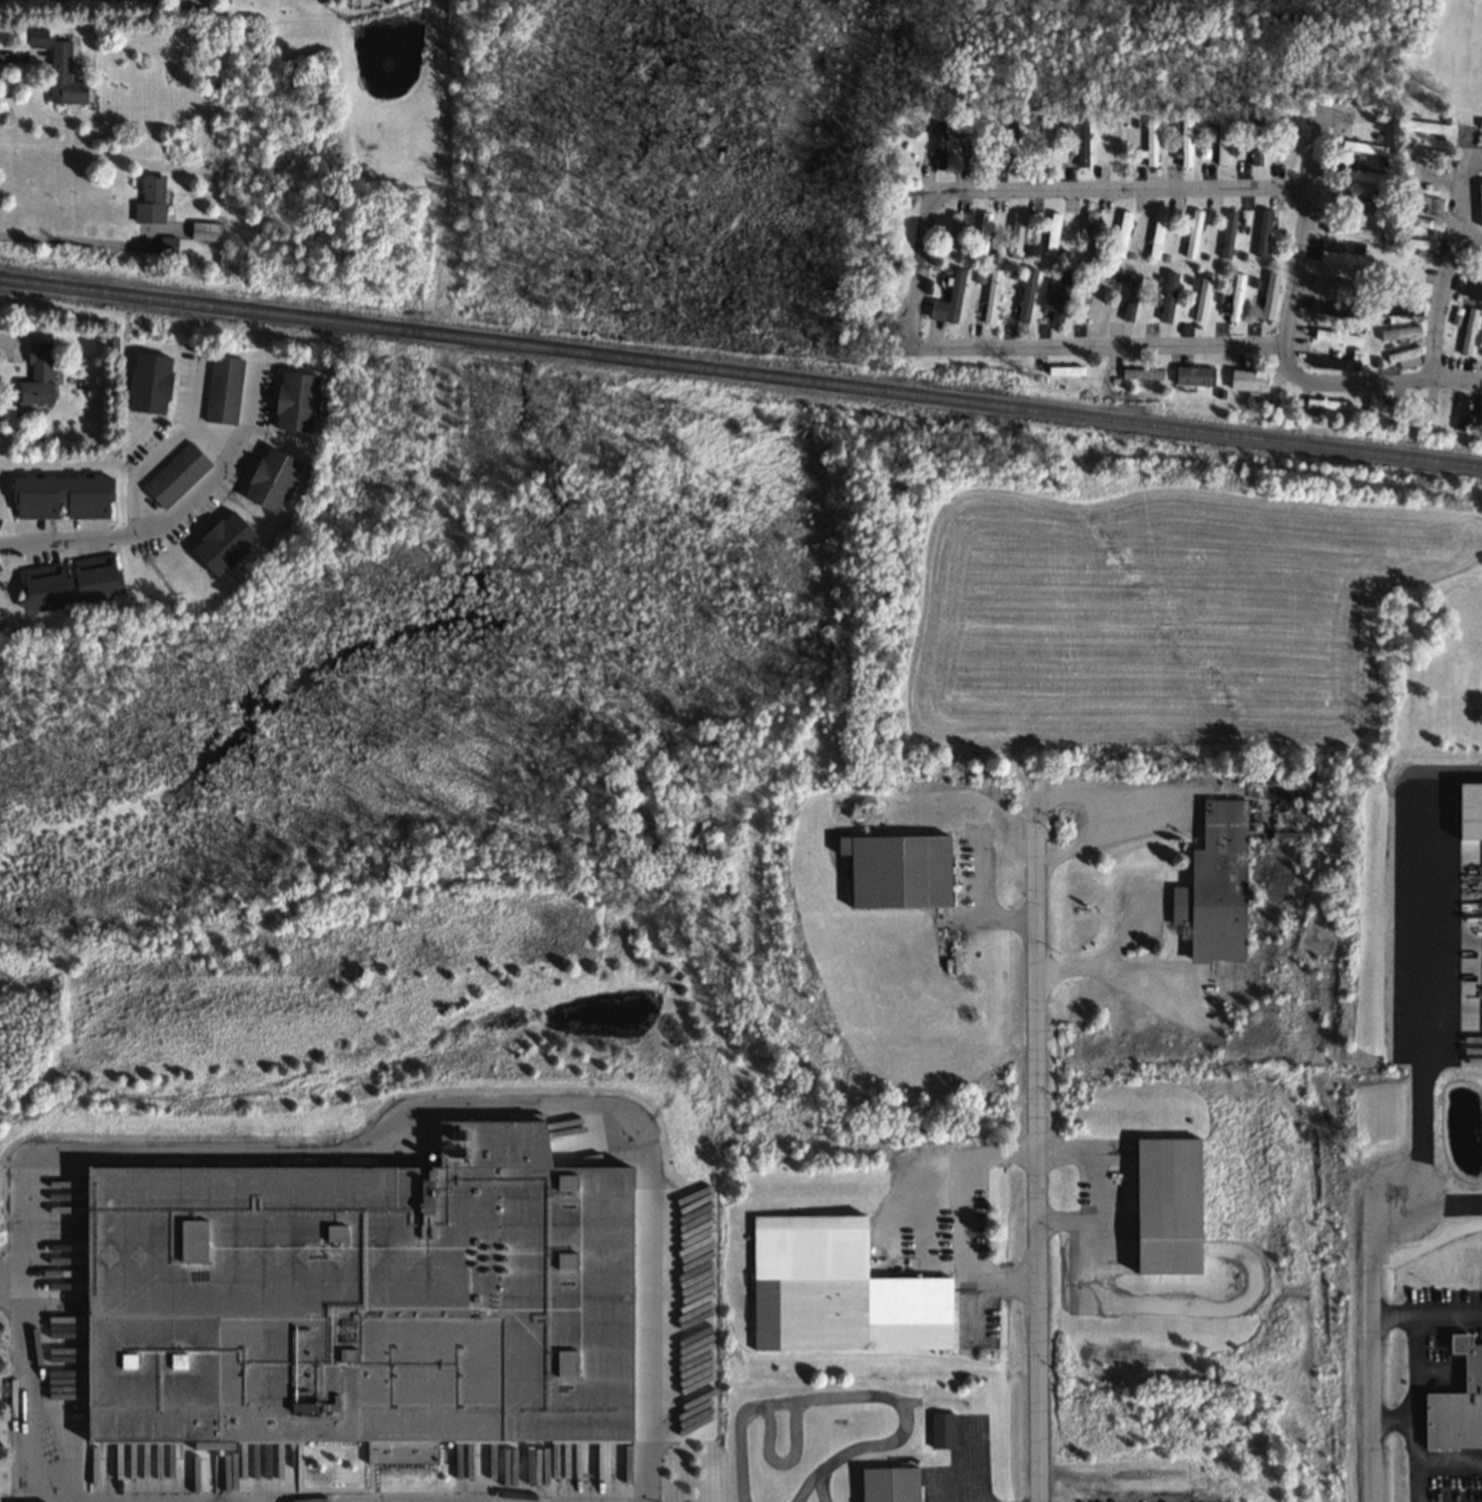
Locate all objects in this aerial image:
building: (55, 66)
building: (1480, 126)
building: (1426, 128)
building: (1222, 141)
building: (1256, 141)
building: (1152, 142)
building: (1186, 142)
building: (1082, 143)
building: (975, 144)
building: (1045, 144)
building: (1011, 145)
building: (939, 146)
building: (1363, 148)
building: (1413, 152)
road: (1476, 158)
building: (1364, 175)
building: (149, 200)
building: (1421, 202)
building: (1358, 204)
building: (1480, 206)
building: (1419, 223)
building: (204, 232)
building: (952, 232)
building: (1088, 232)
building: (1350, 232)
building: (1263, 233)
building: (983, 234)
building: (1053, 234)
building: (1193, 234)
building: (1016, 235)
building: (1122, 235)
building: (1157, 235)
building: (1228, 235)
building: (1419, 247)
road: (1469, 249)
road: (1455, 253)
building: (1341, 255)
road: (921, 268)
building: (1403, 274)
building: (1340, 285)
building: (1470, 289)
building: (1026, 295)
building: (992, 297)
building: (1059, 297)
building: (1131, 297)
building: (1169, 297)
building: (1269, 297)
building: (1203, 298)
building: (949, 300)
building: (1235, 300)
building: (1095, 302)
building: (1402, 310)
building: (1340, 312)
road: (1289, 331)
building: (1469, 332)
building: (1400, 334)
building: (1338, 338)
building: (1406, 358)
building: (1066, 371)
building: (1143, 374)
building: (37, 375)
building: (1194, 376)
building: (1249, 381)
building: (147, 382)
building: (222, 389)
building: (294, 401)
building: (1328, 404)
building: (1418, 408)
building: (1386, 411)
building: (1440, 412)
building: (1461, 412)
building: (1479, 422)
building: (175, 475)
building: (270, 479)
building: (61, 496)
road: (166, 514)
building: (221, 542)
building: (68, 581)
park: (454, 659)
road: (1105, 835)
building: (896, 870)
building: (1215, 885)
road: (978, 908)
road: (1103, 962)
road: (1146, 981)
road: (1423, 1008)
road: (1037, 1159)
building: (1167, 1205)
building: (837, 1291)
building: (360, 1299)
road: (1423, 1310)
road: (1366, 1342)
road: (16, 1390)
building: (1457, 1403)
road: (1413, 1406)
road: (1390, 1421)
building: (941, 1430)
building: (889, 1484)

